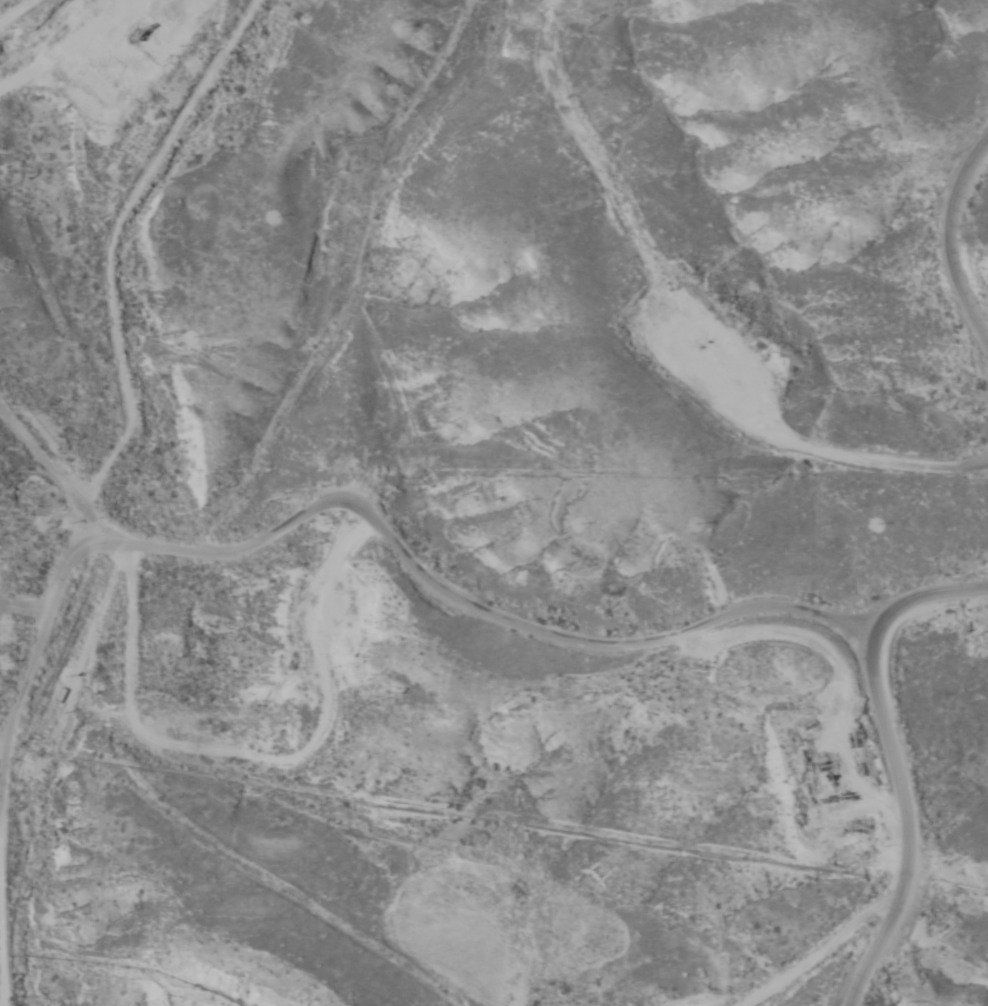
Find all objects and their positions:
road: (4, 2)
road: (955, 250)
road: (240, 416)
road: (425, 562)
road: (896, 767)
road: (792, 955)

